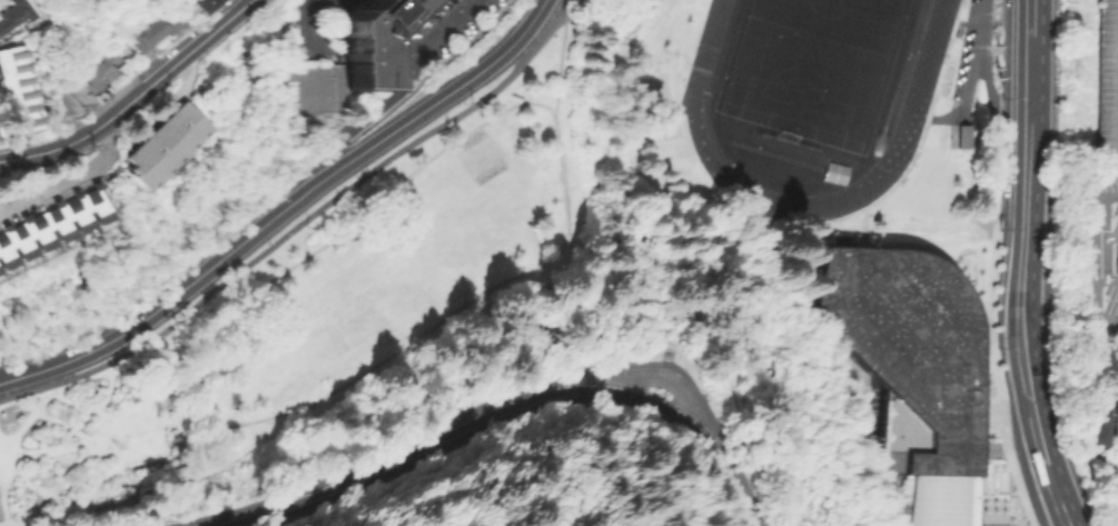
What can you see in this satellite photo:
building: (205, 4)
road: (572, 10)
building: (16, 16)
road: (1026, 18)
road: (321, 24)
building: (150, 33)
parking lot: (966, 47)
building: (344, 60)
road: (560, 64)
park: (811, 66)
building: (98, 71)
road: (985, 72)
building: (1107, 82)
parking lot: (1107, 82)
road: (400, 86)
building: (18, 90)
road: (451, 91)
road: (1025, 95)
road: (135, 98)
road: (966, 99)
road: (167, 103)
track: (912, 110)
building: (961, 136)
building: (165, 143)
park: (482, 153)
building: (833, 171)
road: (335, 172)
road: (68, 176)
road: (298, 220)
road: (728, 226)
building: (53, 228)
building: (1100, 252)
parking lot: (1100, 252)
park: (556, 257)
road: (1022, 269)
road: (176, 298)
road: (701, 343)
building: (917, 367)
road: (653, 377)
road: (1106, 384)
road: (503, 391)
road: (328, 396)
road: (1031, 398)
road: (1007, 410)
building: (1096, 424)
building: (1115, 424)
road: (682, 425)
road: (1039, 438)
road: (398, 459)
road: (1057, 493)
road: (1059, 524)
road: (1068, 524)

